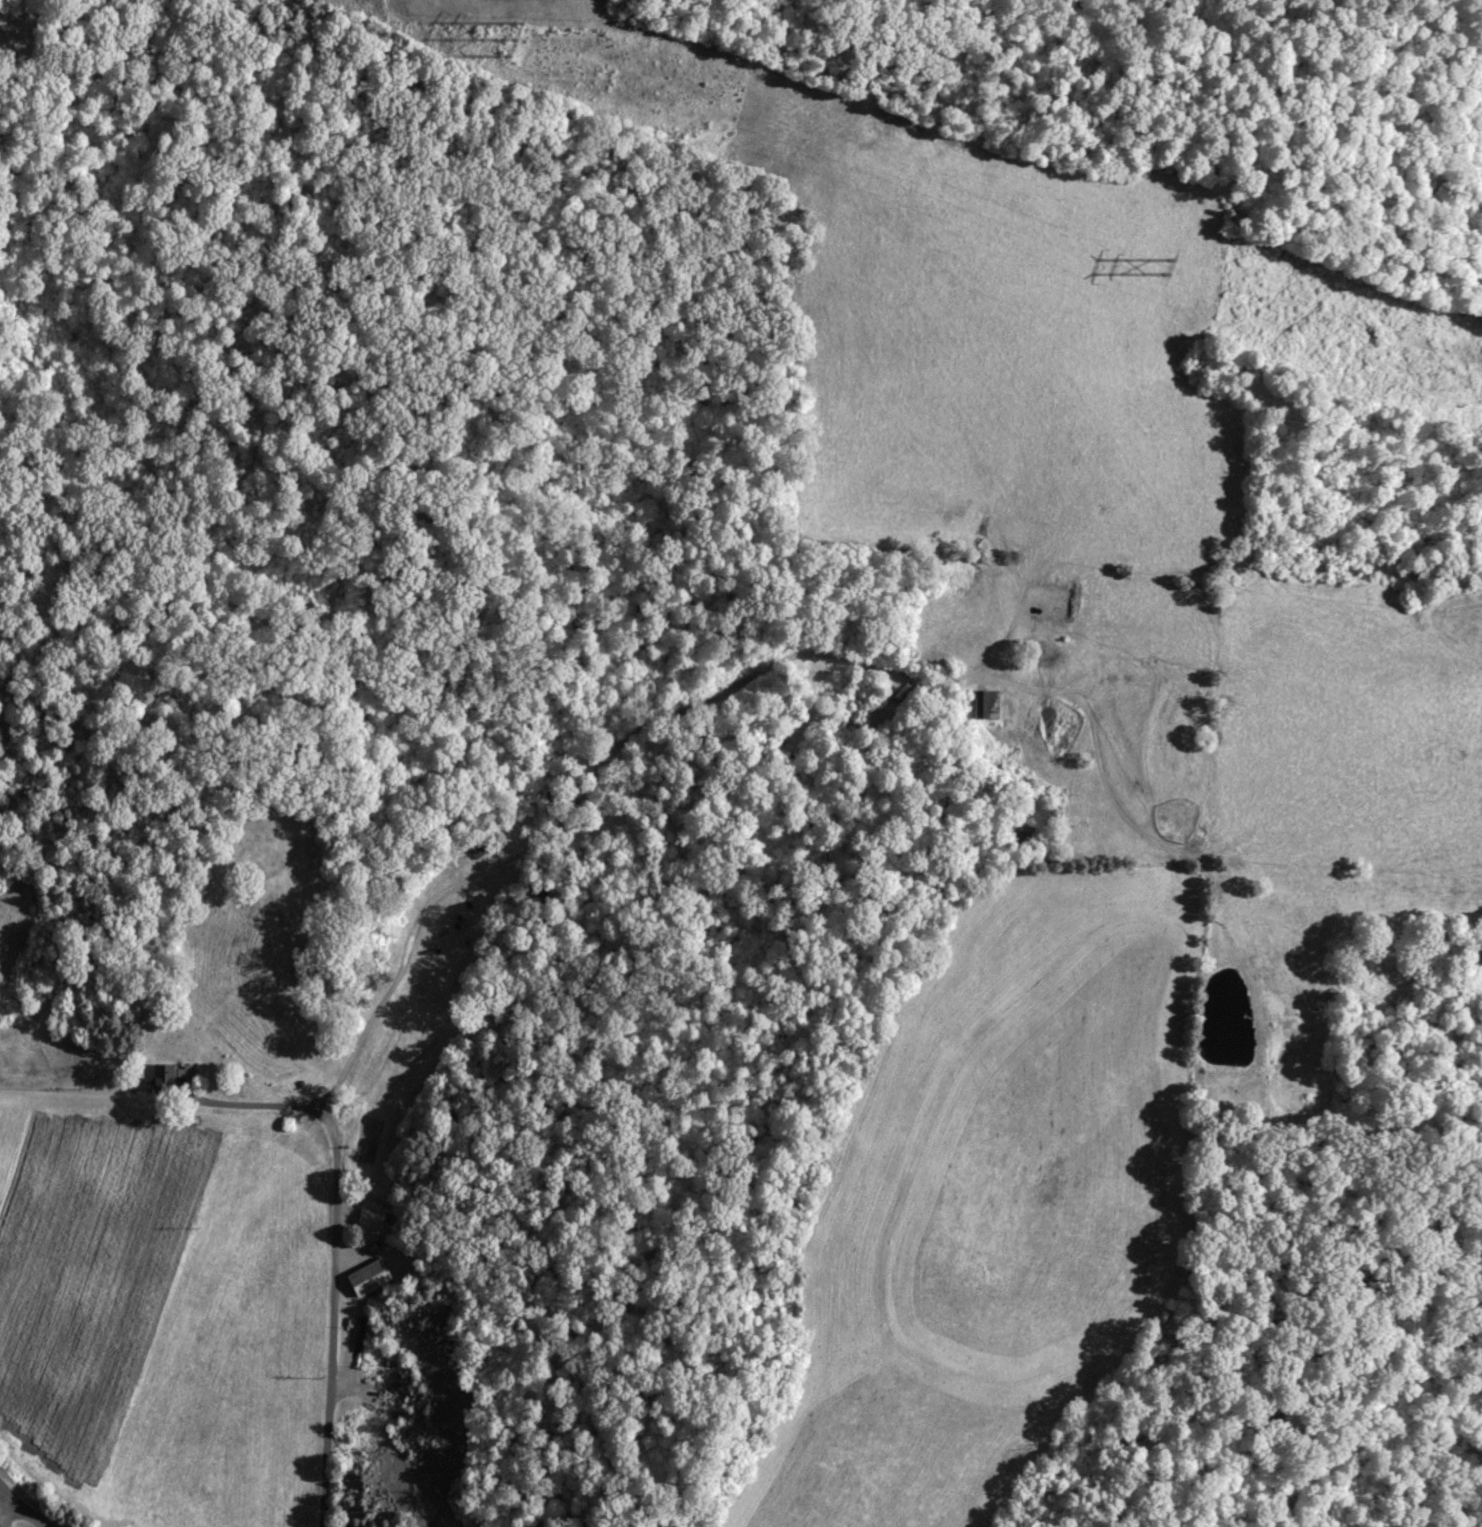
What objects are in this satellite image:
power tower: (511, 42)
power tower: (1163, 269)
road: (697, 693)
building: (988, 707)
building: (164, 1078)
road: (160, 1100)
building: (369, 1220)
road: (332, 1318)
road: (22, 1508)
road: (7, 1509)

